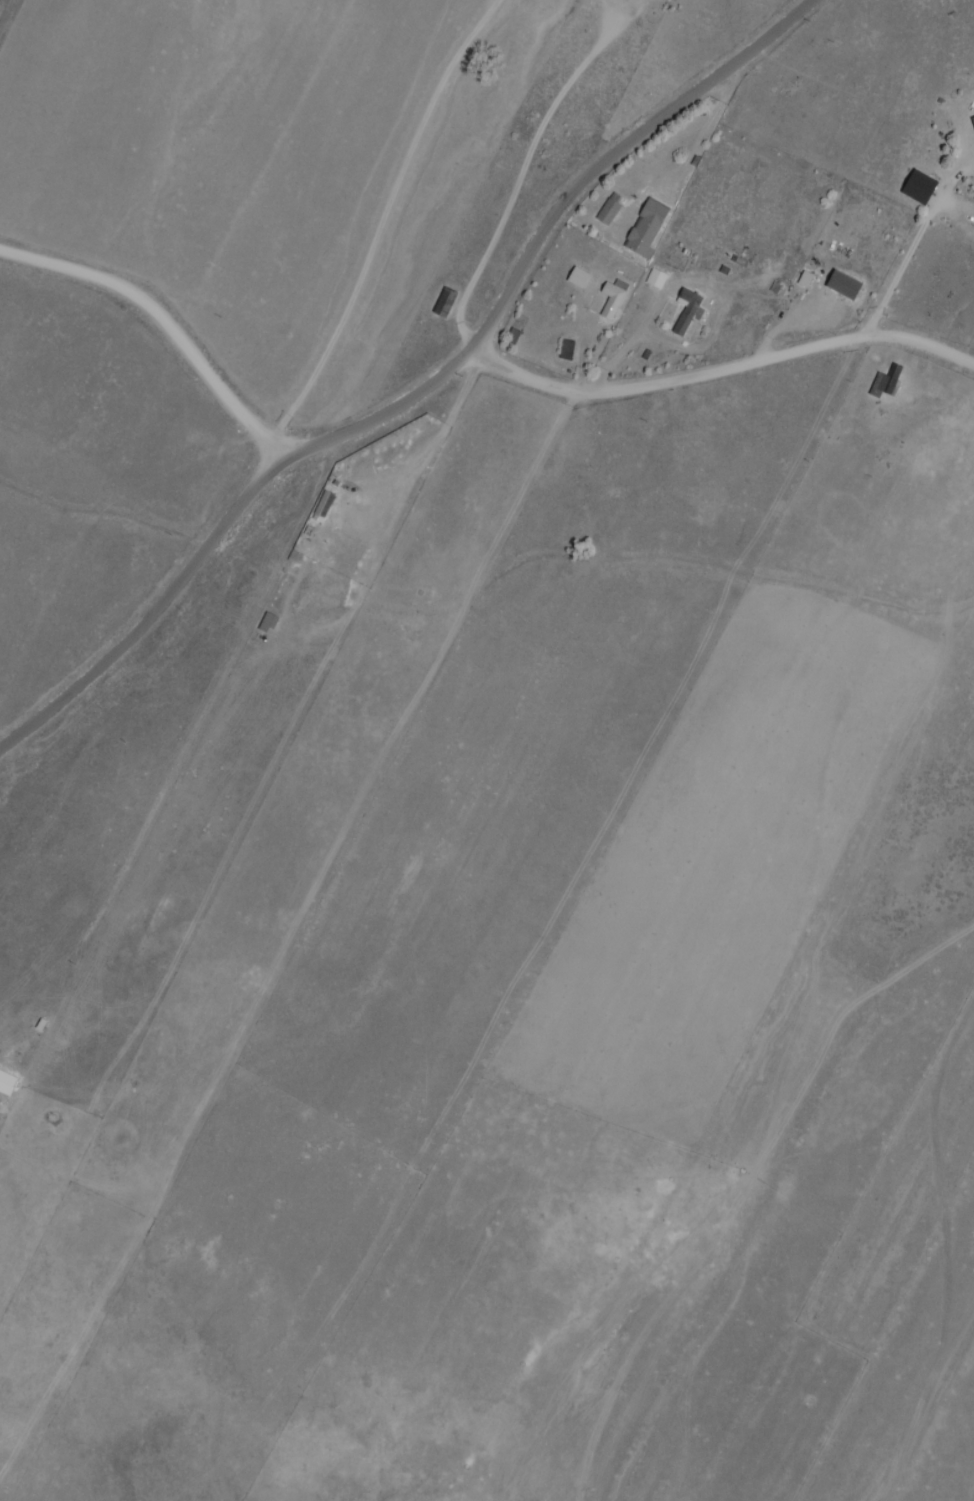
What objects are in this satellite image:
road: (5, 11)
building: (973, 119)
building: (920, 187)
building: (610, 209)
building: (647, 228)
building: (578, 278)
building: (657, 279)
building: (844, 285)
building: (613, 299)
building: (445, 303)
building: (688, 311)
road: (157, 316)
building: (513, 337)
building: (567, 351)
road: (741, 357)
road: (437, 376)
building: (886, 382)
building: (324, 505)

